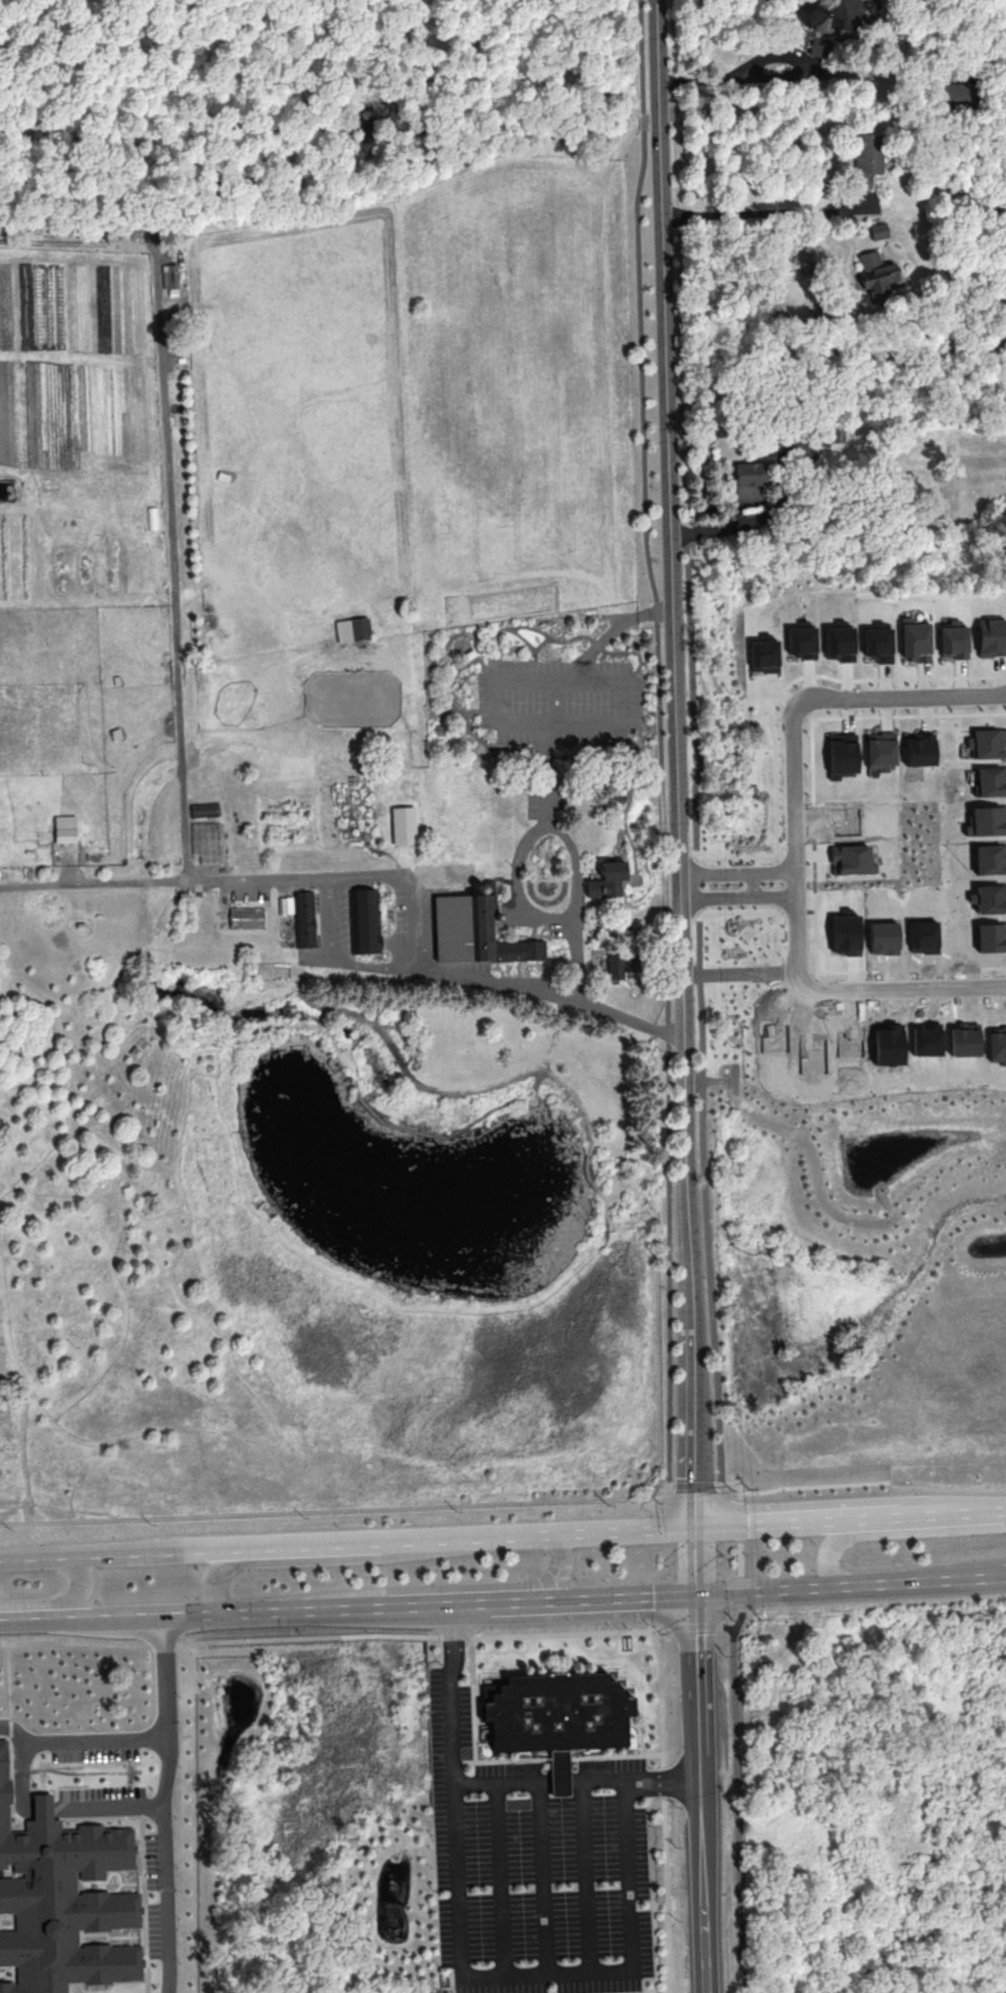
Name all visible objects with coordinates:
road: (287, 10)
building: (828, 14)
road: (112, 56)
road: (557, 59)
road: (717, 77)
building: (955, 93)
road: (802, 100)
road: (636, 120)
building: (867, 158)
road: (402, 189)
road: (110, 190)
road: (762, 212)
building: (879, 230)
road: (77, 245)
building: (876, 276)
building: (170, 279)
road: (829, 349)
building: (800, 444)
building: (225, 473)
building: (750, 480)
building: (115, 543)
road: (171, 565)
road: (615, 606)
road: (620, 615)
building: (353, 629)
road: (612, 629)
road: (545, 634)
building: (991, 637)
road: (524, 638)
building: (801, 639)
building: (953, 639)
building: (839, 640)
building: (915, 640)
building: (878, 642)
road: (541, 643)
building: (763, 653)
road: (448, 679)
road: (557, 701)
parking lot: (560, 702)
road: (444, 710)
road: (623, 722)
road: (471, 732)
road: (692, 743)
building: (989, 743)
building: (920, 749)
building: (880, 750)
building: (842, 755)
crop: (330, 757)
road: (678, 761)
building: (991, 781)
road: (598, 798)
parking lot: (546, 802)
road: (355, 815)
road: (348, 819)
road: (625, 819)
building: (987, 820)
building: (404, 826)
building: (67, 831)
road: (794, 840)
road: (369, 845)
road: (574, 854)
road: (555, 856)
building: (853, 859)
building: (990, 859)
road: (532, 860)
road: (738, 870)
building: (29, 871)
road: (345, 877)
road: (544, 879)
road: (94, 881)
building: (607, 881)
road: (750, 883)
road: (516, 891)
road: (556, 891)
road: (738, 896)
building: (991, 898)
building: (245, 917)
building: (303, 919)
road: (329, 920)
building: (52, 922)
building: (361, 922)
building: (845, 932)
building: (474, 933)
building: (924, 936)
building: (884, 937)
building: (991, 937)
building: (616, 967)
road: (740, 970)
road: (496, 984)
road: (366, 1028)
road: (258, 1029)
road: (668, 1032)
building: (926, 1039)
building: (964, 1039)
road: (407, 1041)
building: (851, 1041)
road: (355, 1042)
building: (997, 1044)
building: (888, 1045)
road: (347, 1051)
road: (549, 1051)
road: (398, 1056)
road: (338, 1059)
road: (349, 1059)
road: (734, 1079)
road: (709, 1080)
road: (565, 1093)
road: (576, 1097)
road: (534, 1100)
road: (431, 1133)
road: (814, 1166)
road: (597, 1188)
pier: (272, 1208)
road: (263, 1214)
road: (260, 1217)
road: (508, 1309)
road: (814, 1485)
road: (852, 1515)
traffic signals: (698, 1524)
road: (628, 1527)
road: (518, 1532)
road: (888, 1532)
road: (238, 1544)
road: (325, 1558)
road: (698, 1560)
road: (968, 1569)
road: (969, 1580)
road: (921, 1583)
road: (881, 1585)
road: (449, 1586)
road: (775, 1591)
traffic signals: (699, 1596)
road: (608, 1600)
road: (63, 1602)
road: (450, 1606)
road: (300, 1612)
road: (107, 1620)
road: (540, 1633)
road: (452, 1634)
road: (170, 1642)
road: (9, 1685)
building: (554, 1711)
road: (80, 1740)
building: (559, 1772)
road: (579, 1782)
road: (704, 1794)
road: (161, 1805)
road: (112, 1807)
road: (665, 1810)
parking lot: (535, 1866)
road: (588, 1877)
road: (543, 1878)
road: (500, 1879)
building: (62, 1898)
road: (482, 1975)

